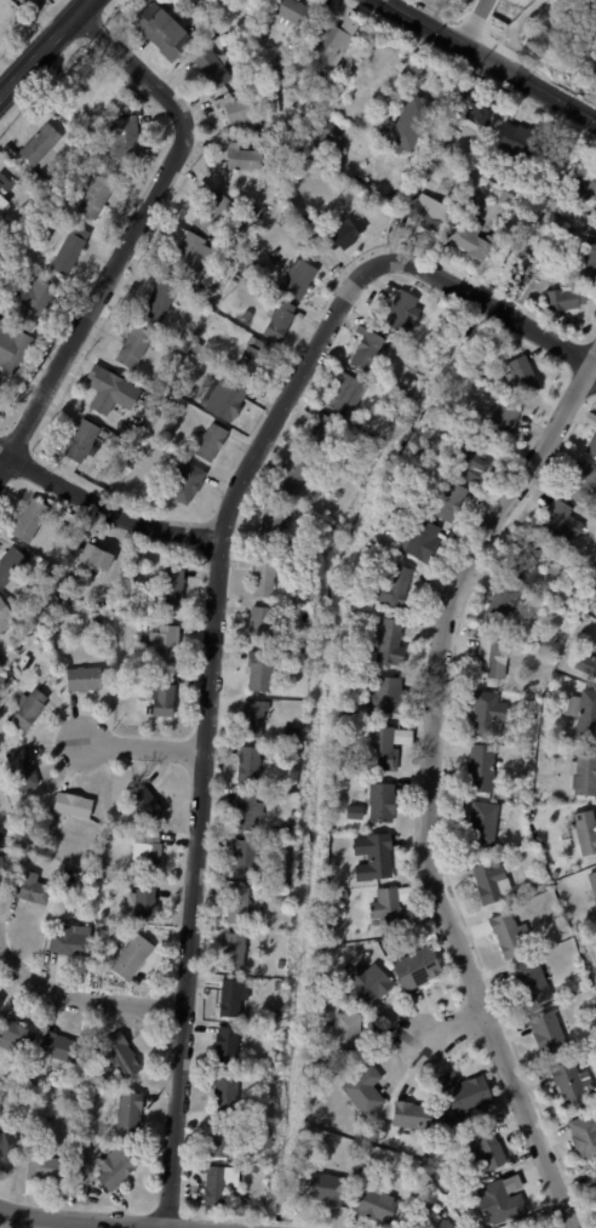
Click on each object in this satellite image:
building: (258, 0)
building: (184, 1)
building: (199, 6)
building: (290, 12)
road: (472, 22)
building: (160, 30)
building: (213, 35)
road: (128, 42)
road: (499, 44)
building: (328, 45)
road: (46, 48)
road: (136, 48)
building: (287, 53)
road: (143, 56)
road: (489, 61)
building: (210, 68)
road: (471, 69)
road: (173, 76)
building: (86, 96)
building: (236, 107)
building: (474, 120)
building: (405, 124)
building: (286, 130)
building: (443, 136)
building: (323, 137)
building: (121, 138)
building: (517, 142)
building: (38, 144)
building: (439, 144)
building: (93, 147)
building: (240, 156)
building: (457, 158)
building: (581, 178)
building: (4, 192)
building: (93, 198)
building: (211, 212)
building: (425, 212)
building: (237, 221)
road: (132, 232)
building: (343, 232)
building: (469, 242)
building: (68, 251)
building: (187, 253)
building: (7, 262)
building: (585, 262)
building: (538, 267)
building: (557, 274)
building: (298, 280)
building: (188, 282)
building: (565, 297)
building: (31, 299)
building: (159, 299)
building: (439, 301)
building: (400, 309)
road: (495, 309)
building: (455, 312)
building: (246, 315)
building: (560, 320)
building: (277, 321)
building: (11, 347)
building: (132, 347)
building: (195, 348)
building: (365, 348)
building: (251, 358)
building: (521, 373)
building: (405, 378)
building: (102, 389)
building: (342, 390)
building: (222, 399)
building: (499, 419)
building: (451, 427)
building: (320, 432)
building: (591, 438)
building: (80, 442)
building: (210, 442)
building: (426, 450)
building: (466, 458)
building: (293, 473)
building: (580, 479)
building: (187, 484)
building: (447, 499)
road: (103, 509)
building: (27, 519)
building: (271, 521)
building: (556, 521)
building: (419, 539)
building: (92, 555)
building: (10, 564)
building: (526, 565)
building: (263, 575)
building: (65, 586)
building: (171, 586)
building: (394, 587)
building: (302, 595)
building: (503, 600)
building: (56, 602)
building: (93, 605)
building: (5, 615)
building: (349, 616)
building: (94, 619)
building: (149, 619)
building: (258, 624)
building: (143, 627)
building: (386, 641)
building: (164, 642)
building: (489, 658)
building: (1, 662)
building: (585, 663)
building: (259, 669)
building: (137, 673)
building: (82, 678)
building: (162, 693)
building: (386, 695)
building: (531, 698)
building: (28, 708)
building: (182, 708)
building: (583, 712)
building: (486, 714)
building: (251, 716)
road: (205, 720)
building: (292, 732)
road: (144, 747)
building: (382, 748)
building: (247, 764)
building: (338, 764)
building: (478, 766)
building: (21, 767)
building: (583, 772)
road: (425, 782)
building: (379, 801)
building: (144, 804)
building: (70, 805)
building: (505, 806)
building: (245, 811)
building: (353, 811)
building: (292, 815)
building: (480, 823)
building: (583, 832)
building: (147, 852)
building: (373, 855)
building: (243, 857)
building: (94, 863)
building: (4, 867)
building: (555, 875)
building: (489, 883)
building: (548, 884)
building: (592, 885)
building: (28, 887)
building: (344, 895)
building: (143, 902)
building: (237, 907)
building: (388, 908)
building: (506, 933)
building: (67, 941)
building: (388, 943)
building: (231, 950)
building: (131, 956)
building: (417, 967)
building: (529, 981)
building: (366, 983)
building: (557, 990)
building: (230, 996)
road: (82, 1003)
building: (273, 1016)
road: (455, 1024)
building: (259, 1029)
building: (546, 1033)
building: (13, 1034)
building: (343, 1034)
building: (224, 1045)
building: (55, 1047)
building: (119, 1055)
building: (22, 1080)
building: (571, 1083)
building: (362, 1090)
building: (224, 1091)
building: (19, 1096)
building: (466, 1097)
building: (48, 1110)
building: (127, 1113)
building: (416, 1116)
building: (219, 1136)
building: (584, 1136)
building: (368, 1138)
building: (264, 1142)
building: (7, 1150)
building: (486, 1152)
building: (45, 1167)
building: (113, 1167)
building: (595, 1172)
building: (213, 1184)
building: (28, 1187)
building: (321, 1188)
building: (499, 1200)
building: (373, 1204)
building: (428, 1216)
building: (528, 1220)
road: (52, 1223)
building: (476, 1226)

